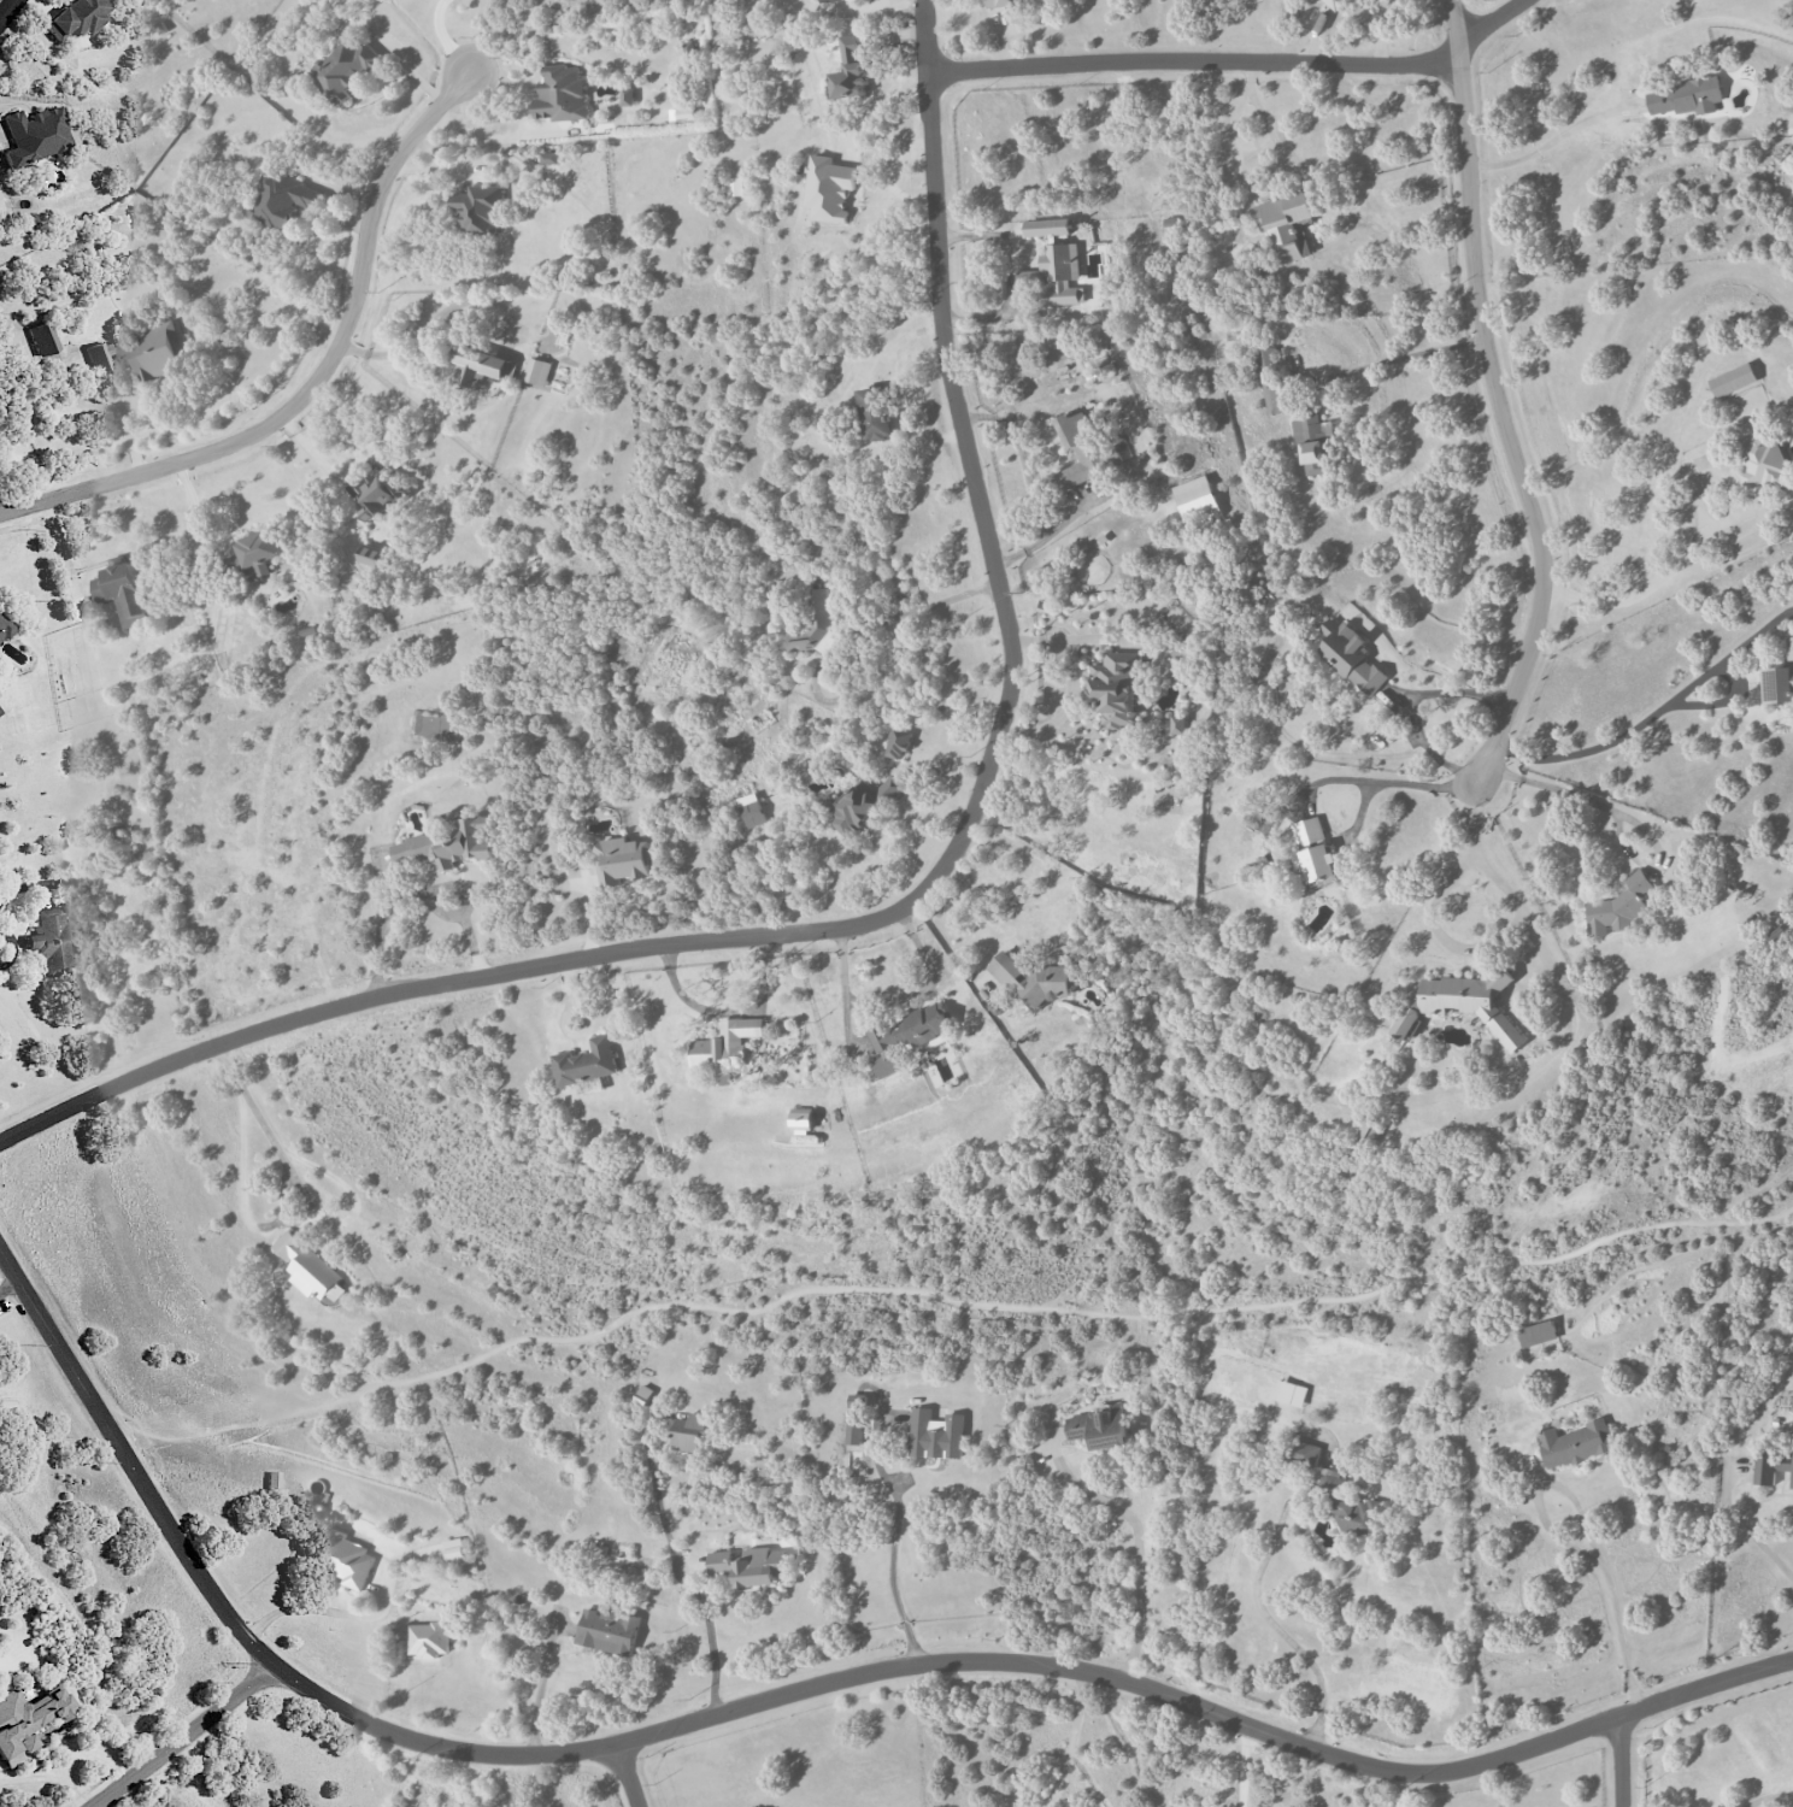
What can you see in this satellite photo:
building: (829, 0)
building: (1003, 4)
building: (1333, 4)
road: (7, 10)
building: (76, 17)
road: (442, 39)
road: (1240, 61)
building: (343, 66)
building: (848, 73)
building: (562, 93)
building: (627, 96)
building: (1685, 96)
road: (477, 135)
building: (33, 136)
road: (1551, 137)
building: (549, 158)
road: (1268, 184)
building: (736, 187)
building: (829, 188)
building: (282, 200)
building: (480, 208)
building: (1285, 223)
building: (1047, 226)
building: (1062, 273)
road: (431, 322)
building: (42, 339)
building: (158, 355)
building: (99, 357)
road: (1400, 357)
building: (480, 367)
building: (537, 372)
road: (323, 379)
building: (1269, 379)
building: (1732, 379)
road: (1500, 399)
building: (872, 413)
building: (1312, 441)
building: (1082, 452)
building: (1759, 460)
road: (341, 469)
building: (376, 495)
building: (1197, 500)
road: (1693, 540)
building: (255, 553)
building: (370, 555)
building: (120, 590)
building: (811, 625)
building: (4, 629)
building: (1351, 657)
building: (1780, 681)
building: (1116, 688)
road: (1409, 702)
road: (1657, 708)
building: (1178, 724)
building: (898, 742)
road: (1380, 781)
building: (864, 806)
building: (751, 810)
road: (1621, 814)
building: (448, 844)
building: (1312, 850)
building: (622, 860)
road: (417, 894)
road: (907, 905)
building: (1618, 906)
building: (57, 942)
road: (12, 948)
building: (1034, 979)
road: (1563, 985)
road: (893, 996)
building: (1460, 1003)
road: (724, 1011)
building: (904, 1038)
building: (724, 1048)
building: (586, 1061)
building: (801, 1118)
road: (260, 1120)
building: (1364, 1137)
building: (310, 1269)
building: (1536, 1334)
park: (30, 1391)
building: (1291, 1393)
building: (854, 1418)
building: (1099, 1428)
building: (689, 1431)
building: (935, 1435)
building: (1574, 1443)
building: (1769, 1468)
building: (1792, 1479)
building: (1336, 1493)
road: (1744, 1525)
road: (1137, 1543)
building: (455, 1552)
building: (345, 1558)
building: (749, 1565)
road: (890, 1573)
road: (1611, 1608)
road: (1269, 1619)
building: (609, 1630)
building: (428, 1640)
road: (711, 1647)
road: (541, 1689)
road: (788, 1694)
building: (27, 1720)
road: (183, 1736)
road: (1068, 1742)
road: (1623, 1761)
road: (1245, 1766)
road: (630, 1774)
road: (1771, 1797)

